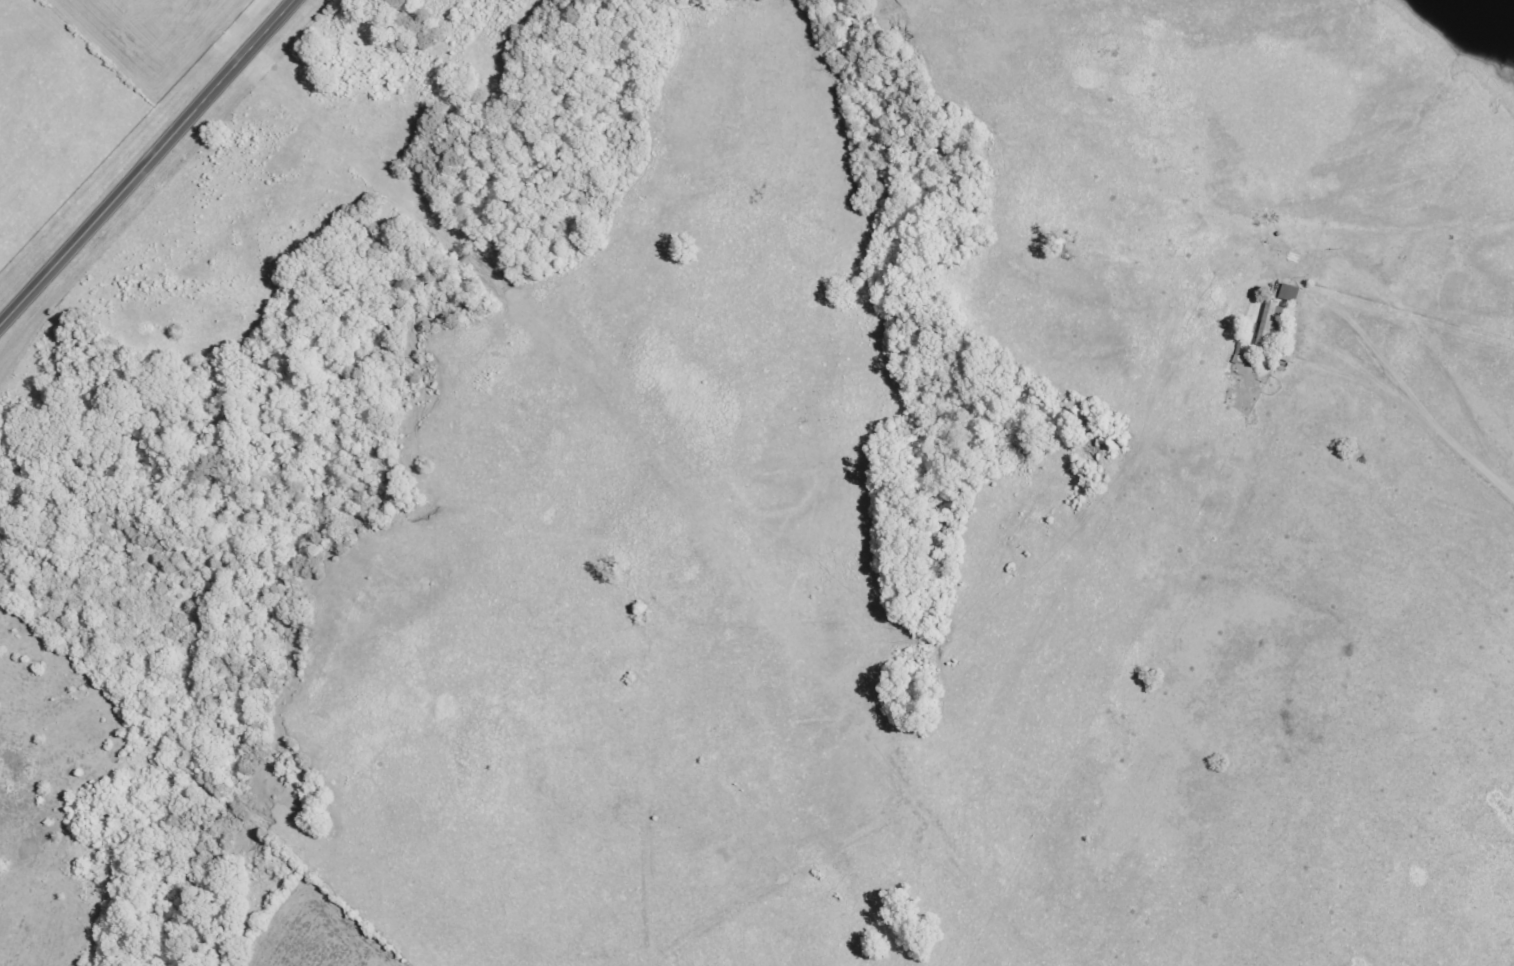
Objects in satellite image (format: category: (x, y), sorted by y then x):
road: (148, 163)
building: (1268, 320)
road: (1418, 408)

